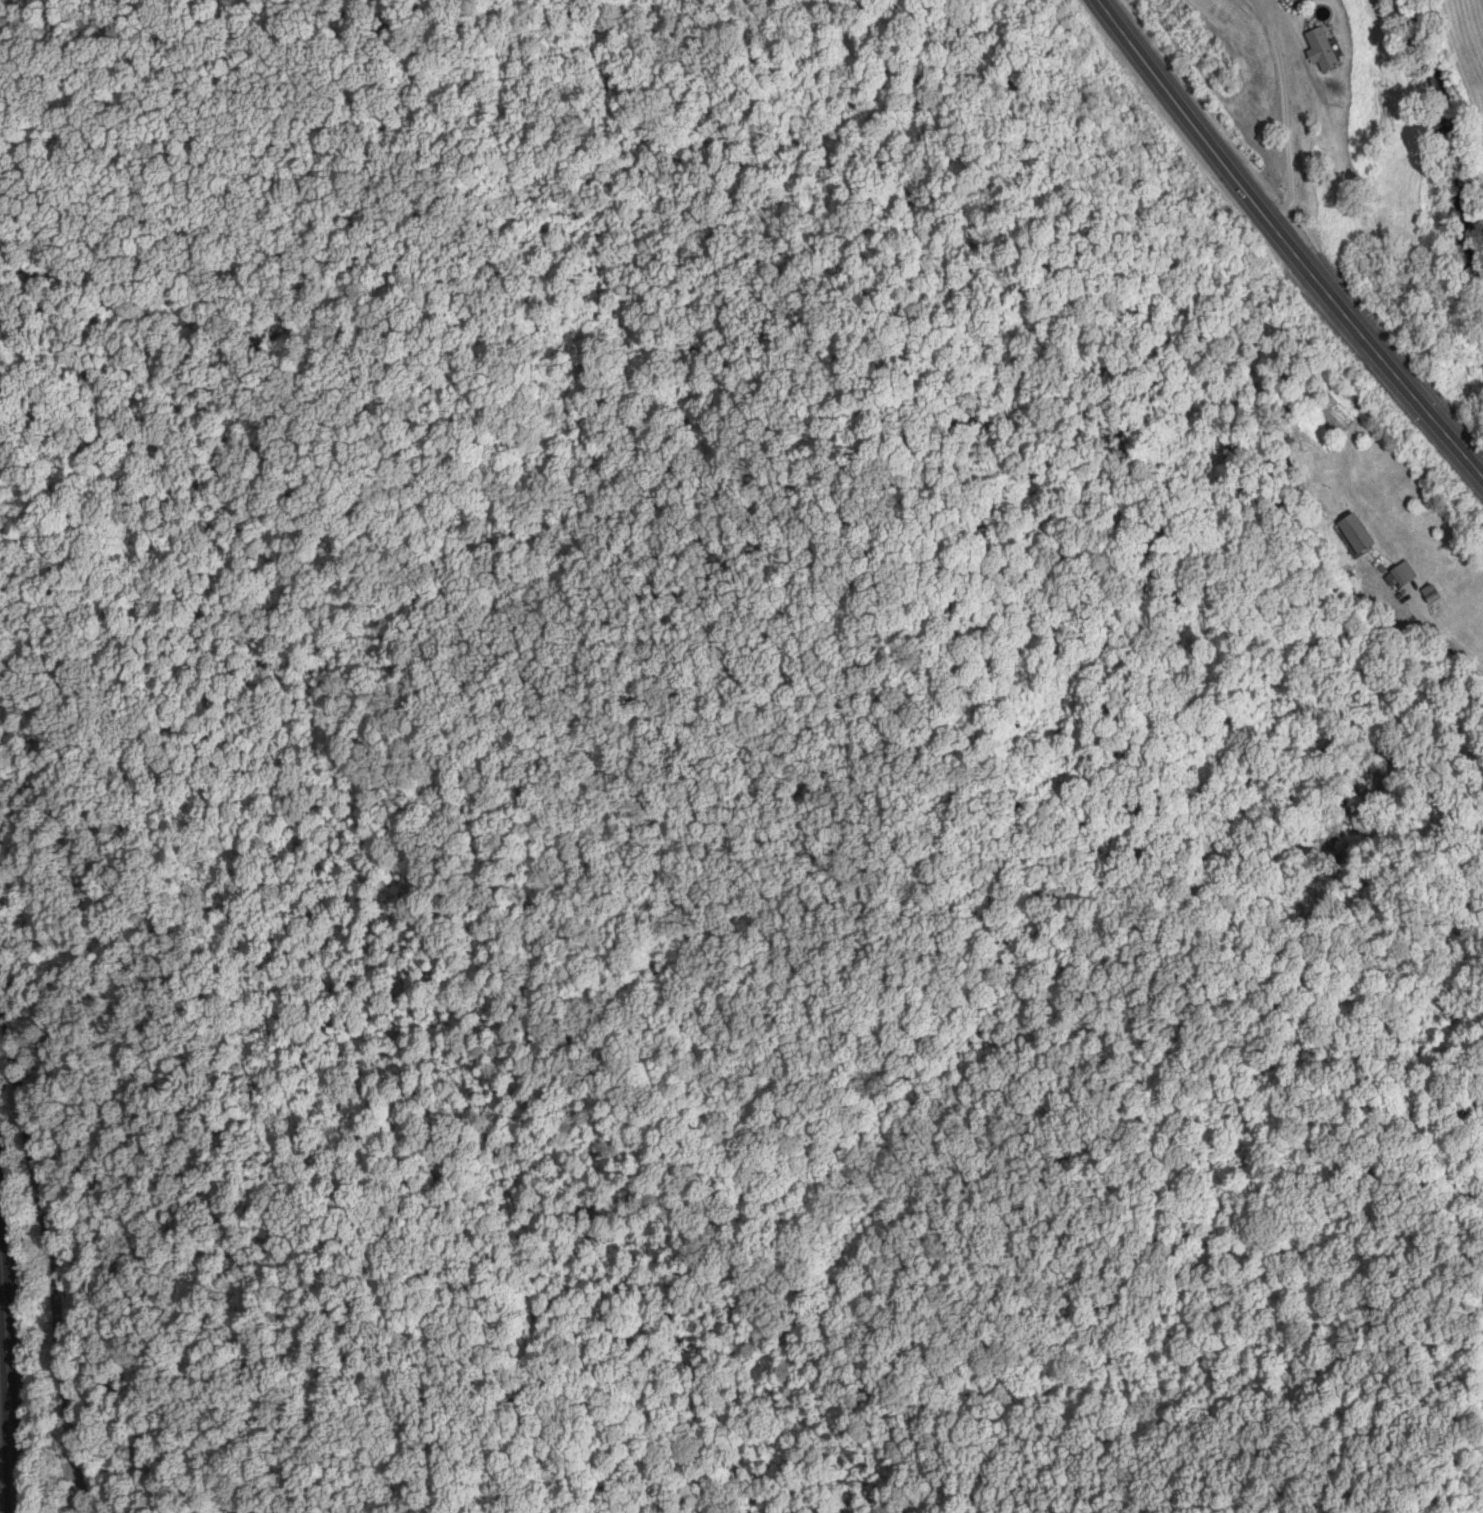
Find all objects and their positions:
road: (1284, 244)
road: (209, 1104)
railway: (5, 1451)
railway: (1, 1496)

